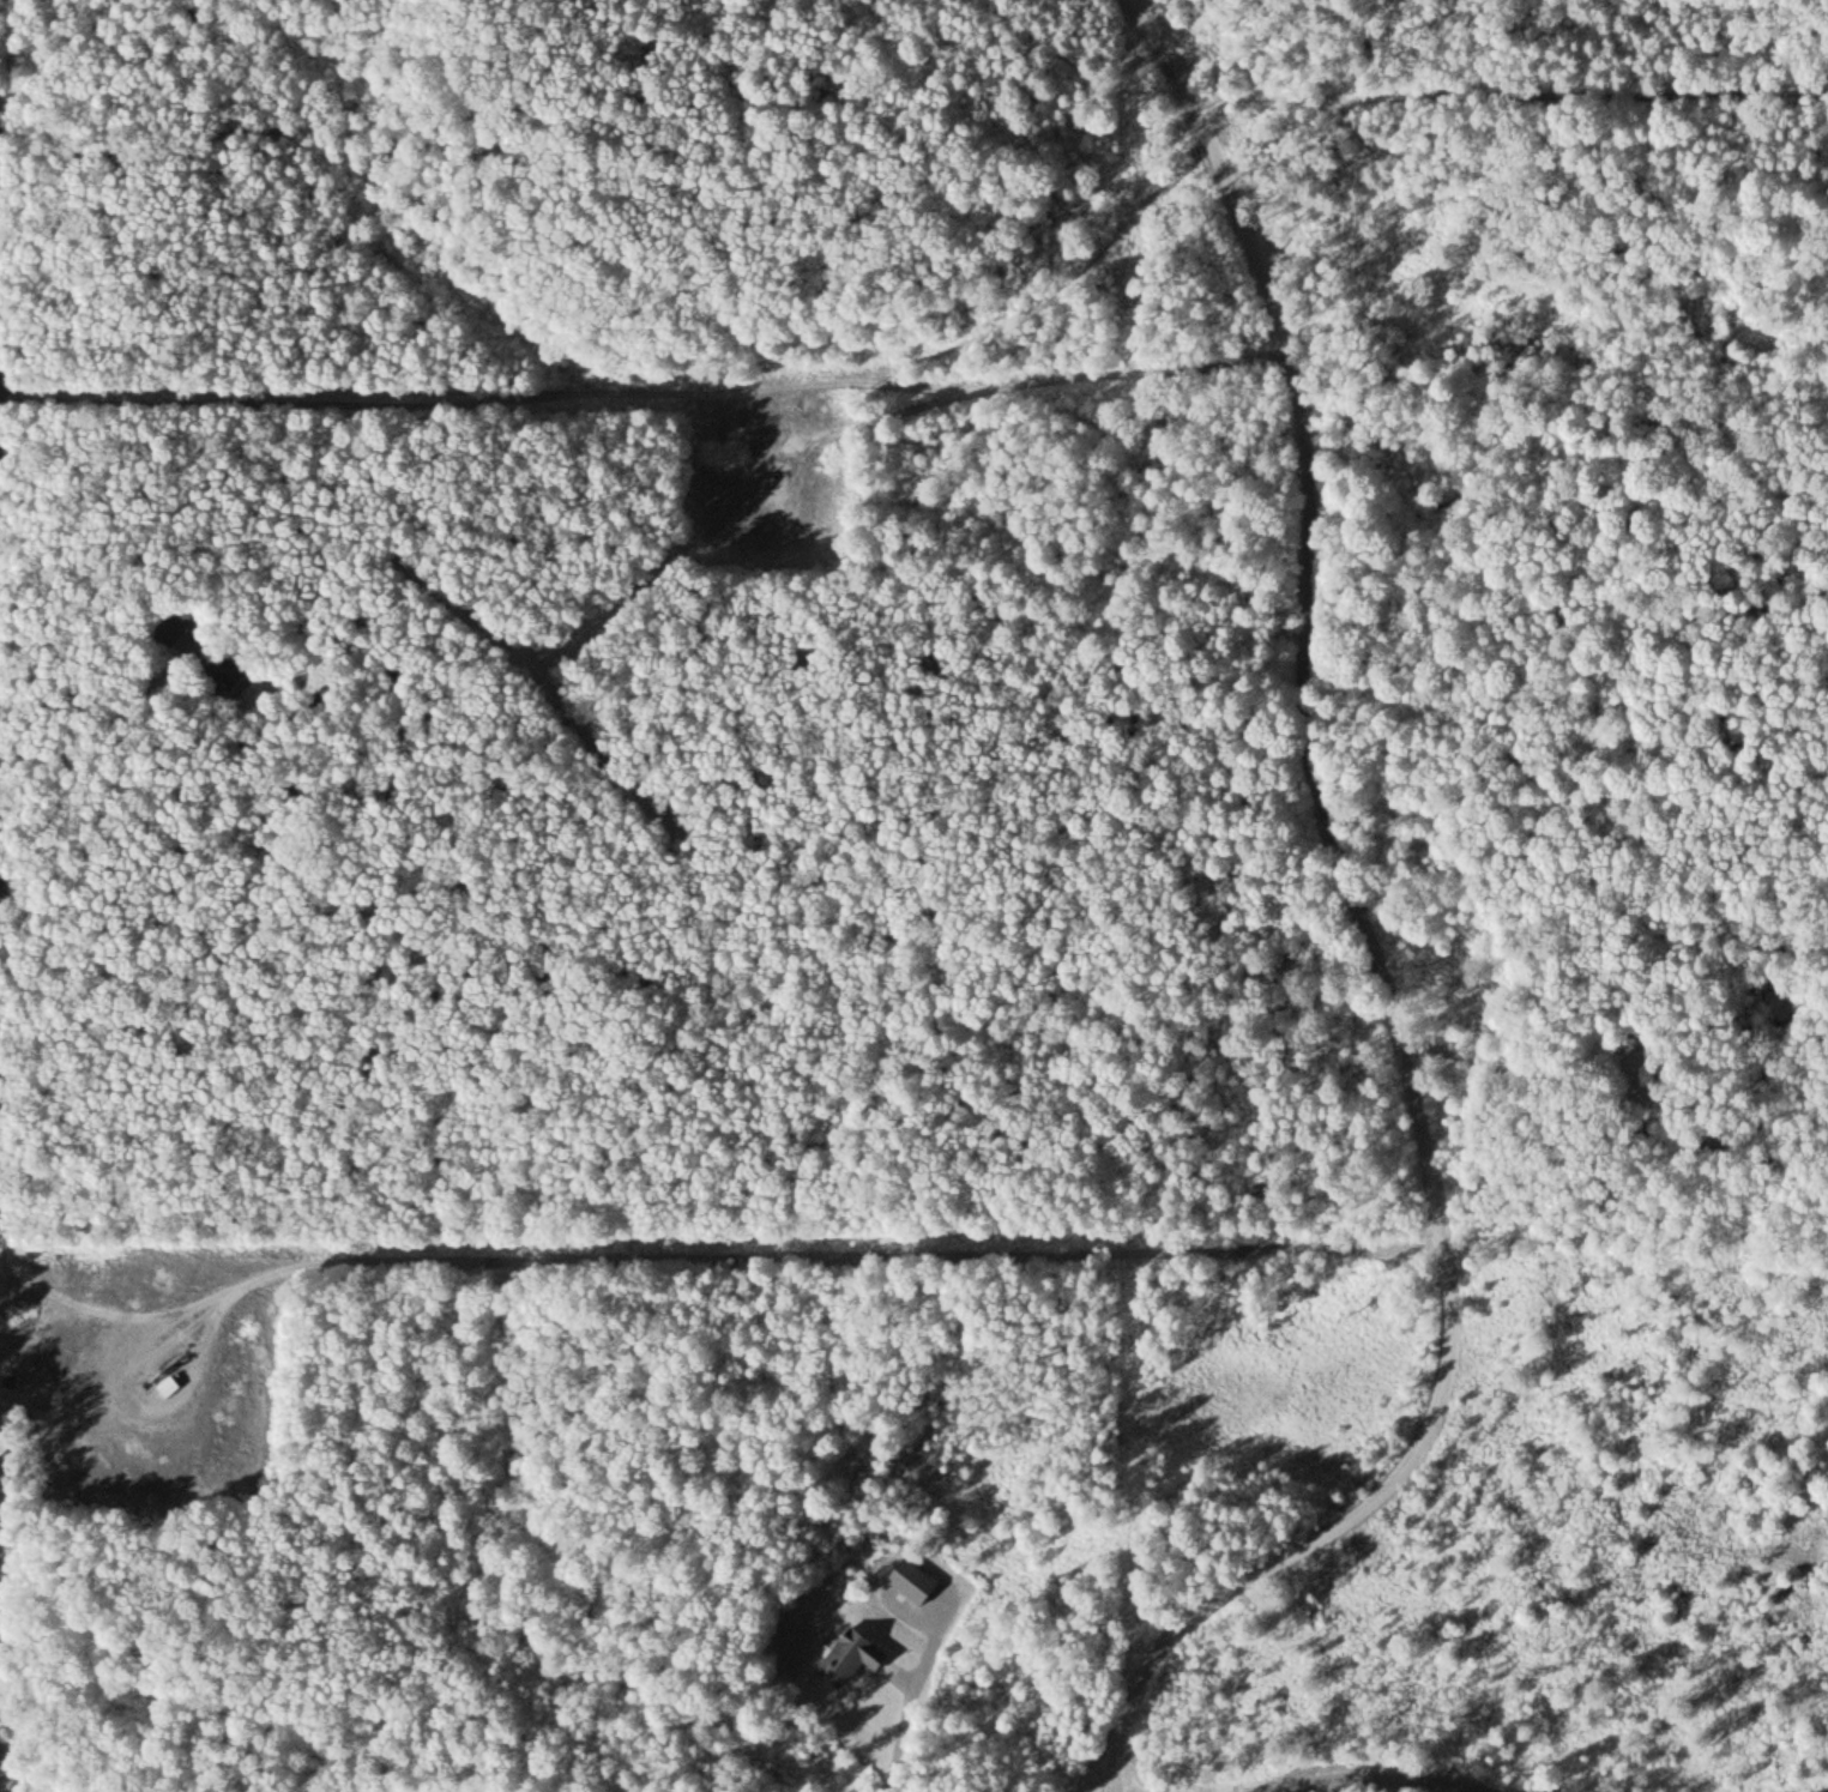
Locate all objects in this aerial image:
road: (1506, 90)
road: (683, 398)
petroleum well: (779, 479)
road: (1374, 947)
road: (17, 989)
road: (722, 1255)
petroleum well: (155, 1378)
building: (909, 1579)
building: (846, 1655)
road: (7, 1748)
road: (13, 1778)
road: (28, 1778)
road: (1383, 1787)

